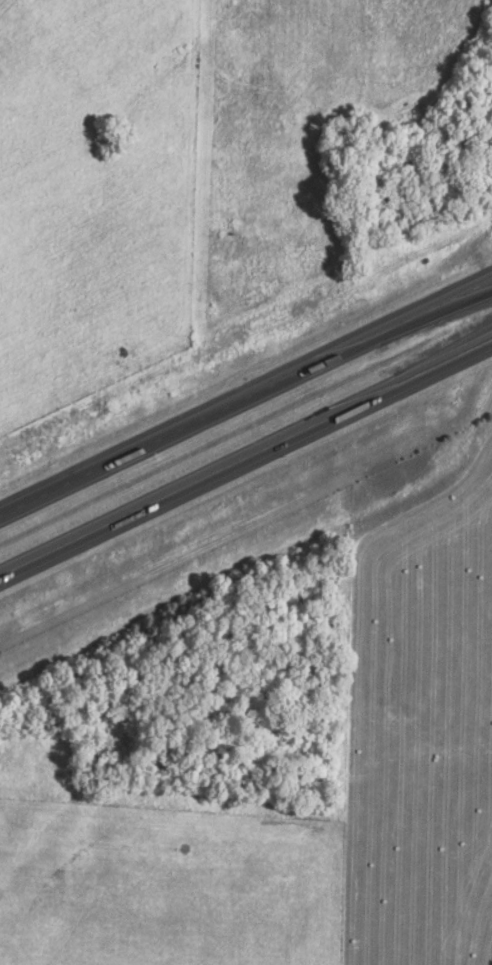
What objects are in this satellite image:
road: (245, 399)
road: (245, 458)

